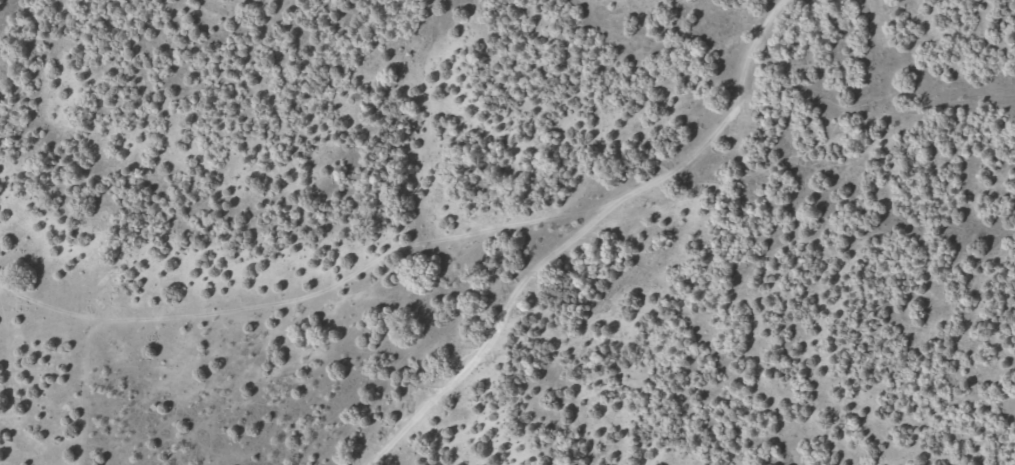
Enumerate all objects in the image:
road: (635, 259)

